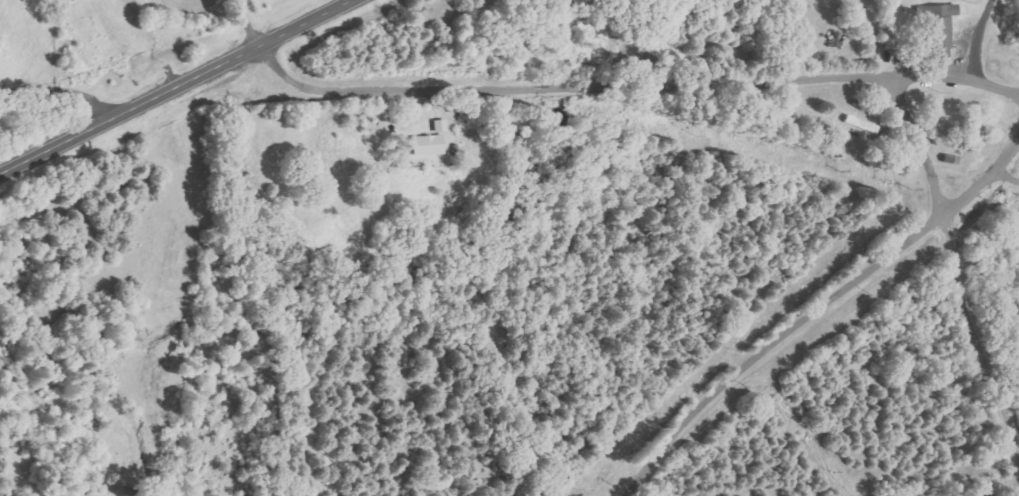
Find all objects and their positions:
building: (936, 29)
road: (979, 39)
road: (254, 41)
road: (957, 78)
road: (61, 86)
road: (588, 86)
road: (178, 87)
building: (442, 127)
building: (430, 146)
road: (922, 147)
road: (1006, 179)
road: (989, 180)
road: (973, 331)
road: (775, 348)

